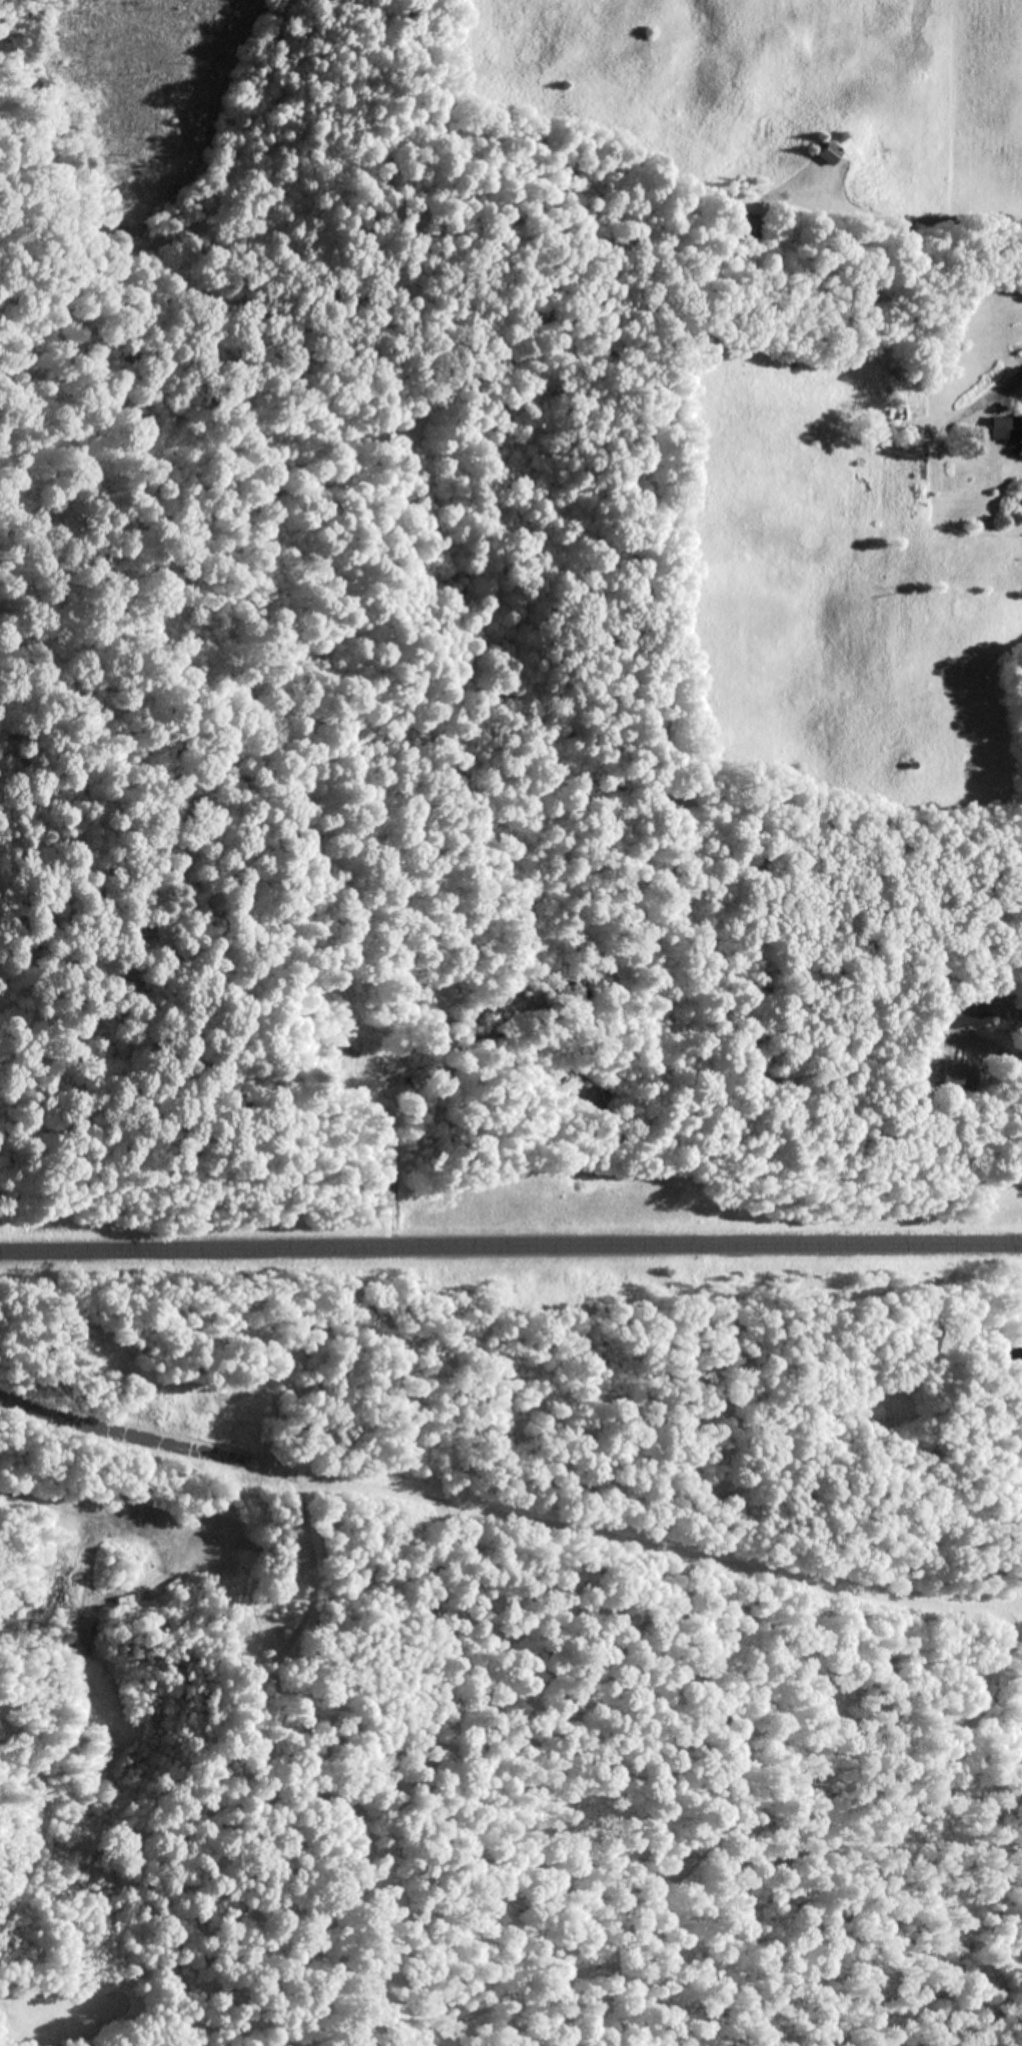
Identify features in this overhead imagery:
building: (829, 156)
building: (750, 234)
building: (1007, 431)
building: (969, 1019)
building: (954, 1082)
road: (511, 1250)
building: (1020, 1317)
building: (1013, 1353)
road: (505, 1537)

